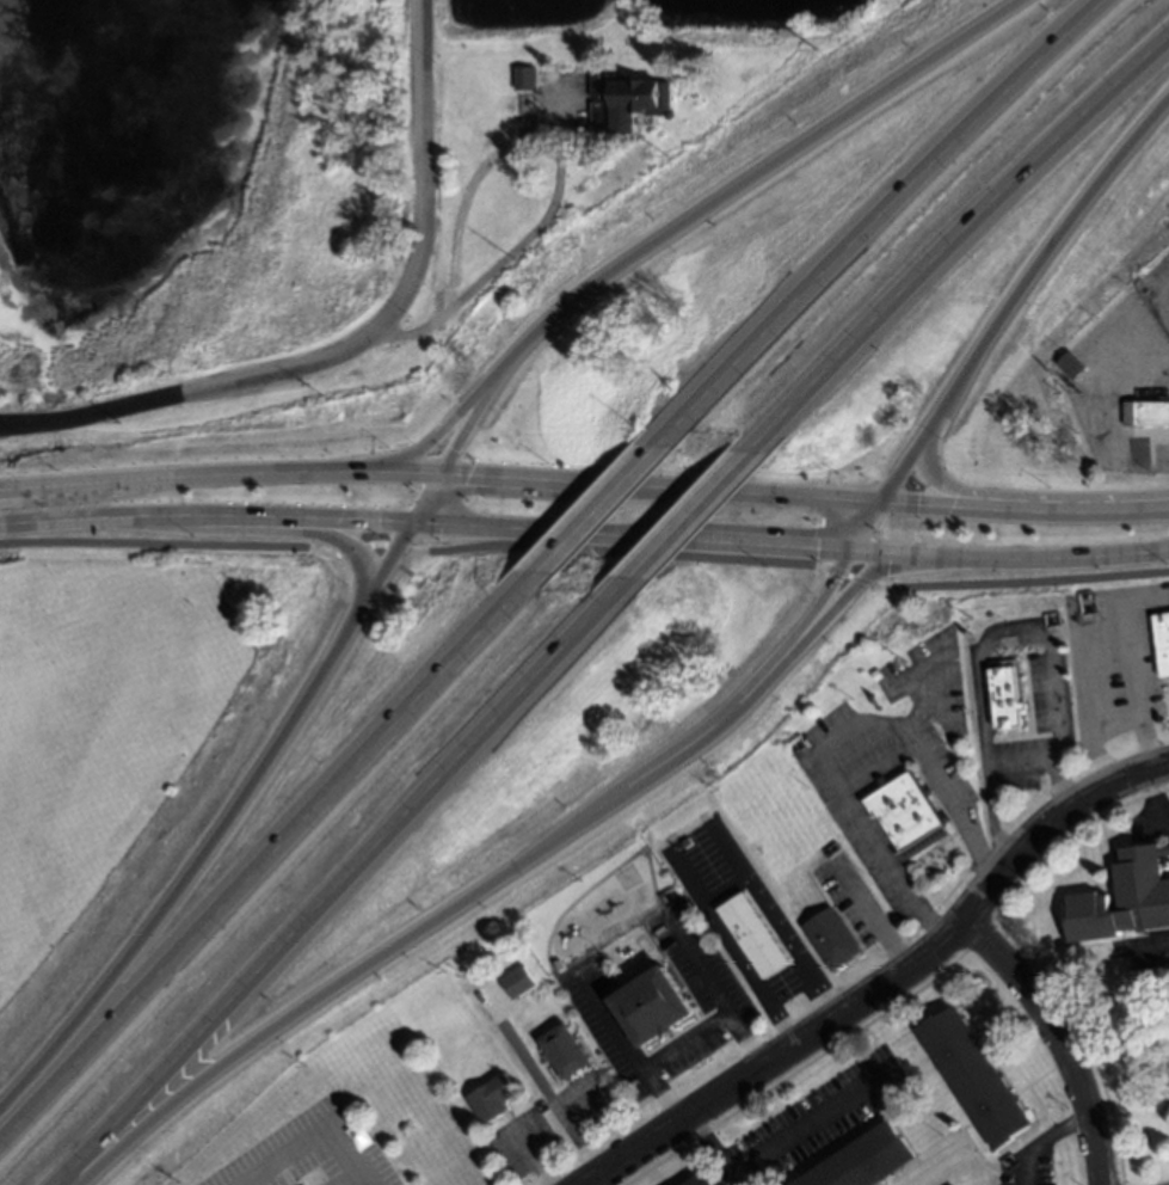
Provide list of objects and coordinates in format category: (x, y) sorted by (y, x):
power tower: (817, 51)
building: (524, 79)
building: (628, 102)
building: (504, 119)
power tower: (667, 155)
road: (708, 214)
road: (887, 226)
road: (466, 237)
road: (537, 241)
road: (952, 246)
power tower: (516, 262)
road: (1017, 296)
road: (364, 352)
building: (1070, 363)
power tower: (320, 395)
road: (1107, 411)
building: (1145, 412)
power tower: (119, 423)
road: (437, 431)
road: (411, 479)
traffic signals: (436, 479)
road: (934, 479)
road: (191, 481)
road: (659, 492)
traffic signals: (885, 502)
road: (419, 504)
road: (1026, 510)
road: (602, 511)
road: (160, 522)
road: (687, 527)
road: (362, 529)
traffic signals: (402, 530)
road: (865, 530)
road: (623, 541)
road: (586, 551)
road: (361, 555)
traffic signals: (844, 559)
road: (863, 560)
road: (381, 567)
road: (1026, 567)
road: (833, 606)
road: (988, 636)
building: (1161, 641)
road: (1133, 667)
building: (1005, 694)
road: (827, 732)
road: (1090, 738)
road: (1021, 763)
road: (1155, 798)
building: (906, 815)
road: (273, 854)
road: (196, 866)
road: (343, 886)
road: (478, 888)
building: (1125, 897)
building: (752, 935)
building: (831, 938)
road: (1159, 941)
building: (515, 983)
road: (885, 984)
road: (718, 996)
building: (650, 1007)
road: (1058, 1038)
road: (684, 1043)
road: (623, 1050)
building: (561, 1051)
building: (973, 1077)
park: (1121, 1080)
road: (544, 1091)
building: (490, 1098)
road: (577, 1101)
road: (310, 1135)
road: (779, 1138)
road: (1044, 1138)
building: (862, 1160)
building: (697, 1180)

